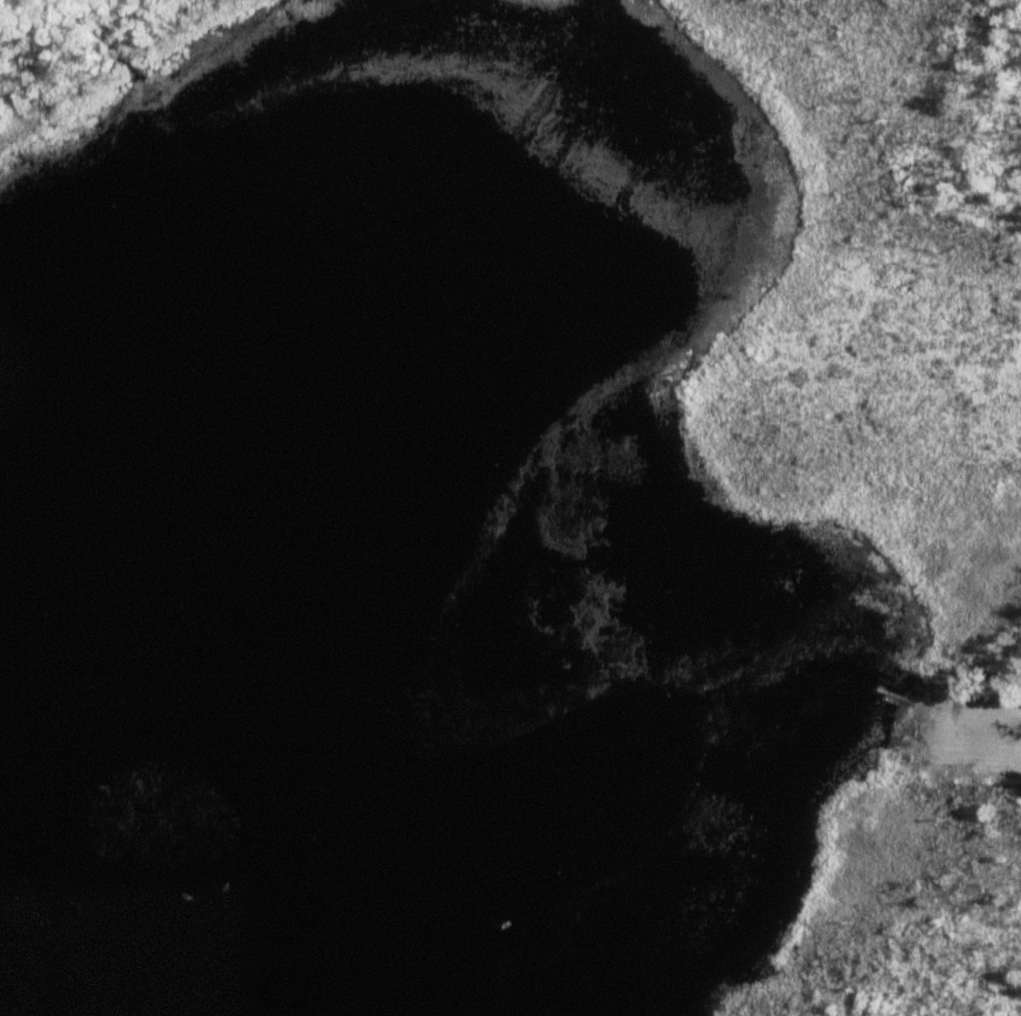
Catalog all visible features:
road: (971, 695)
road: (955, 705)

